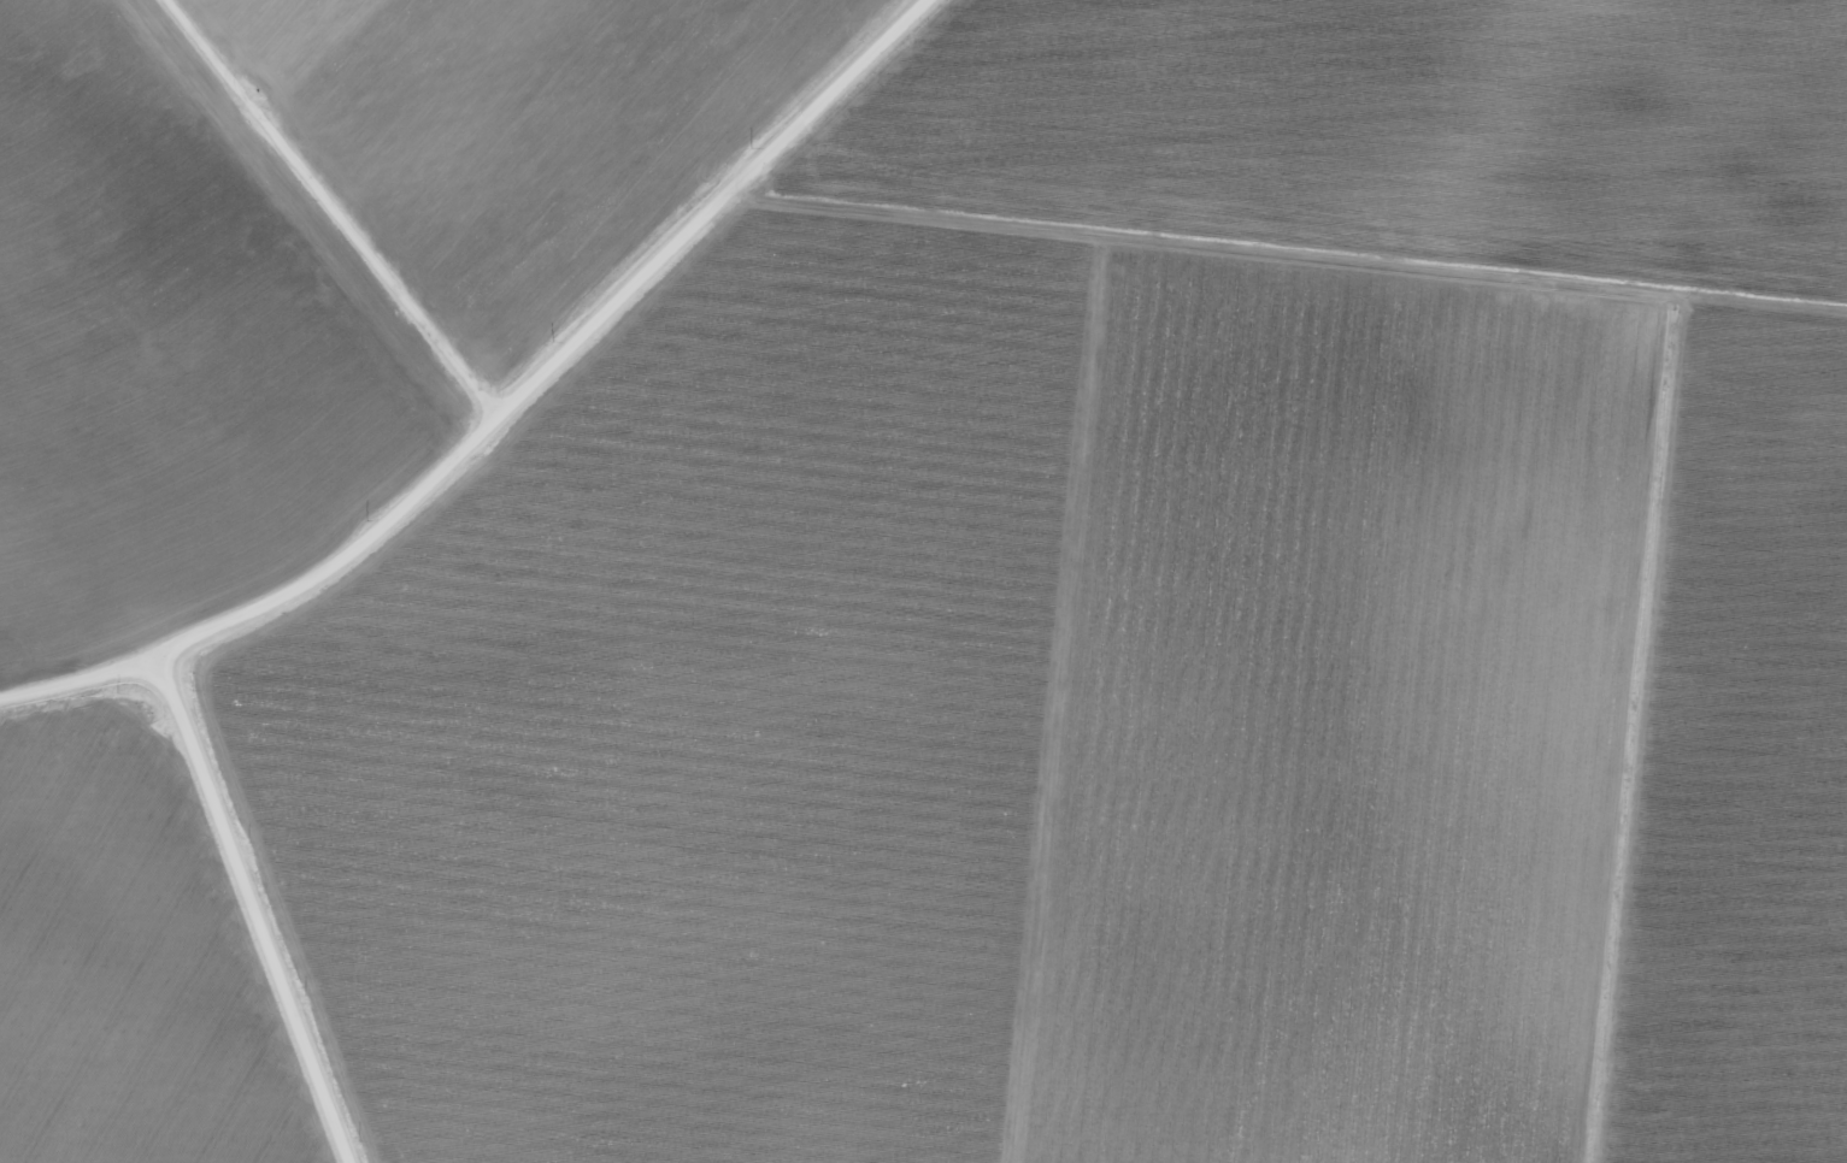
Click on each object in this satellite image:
road: (325, 212)
road: (505, 414)
road: (248, 913)

